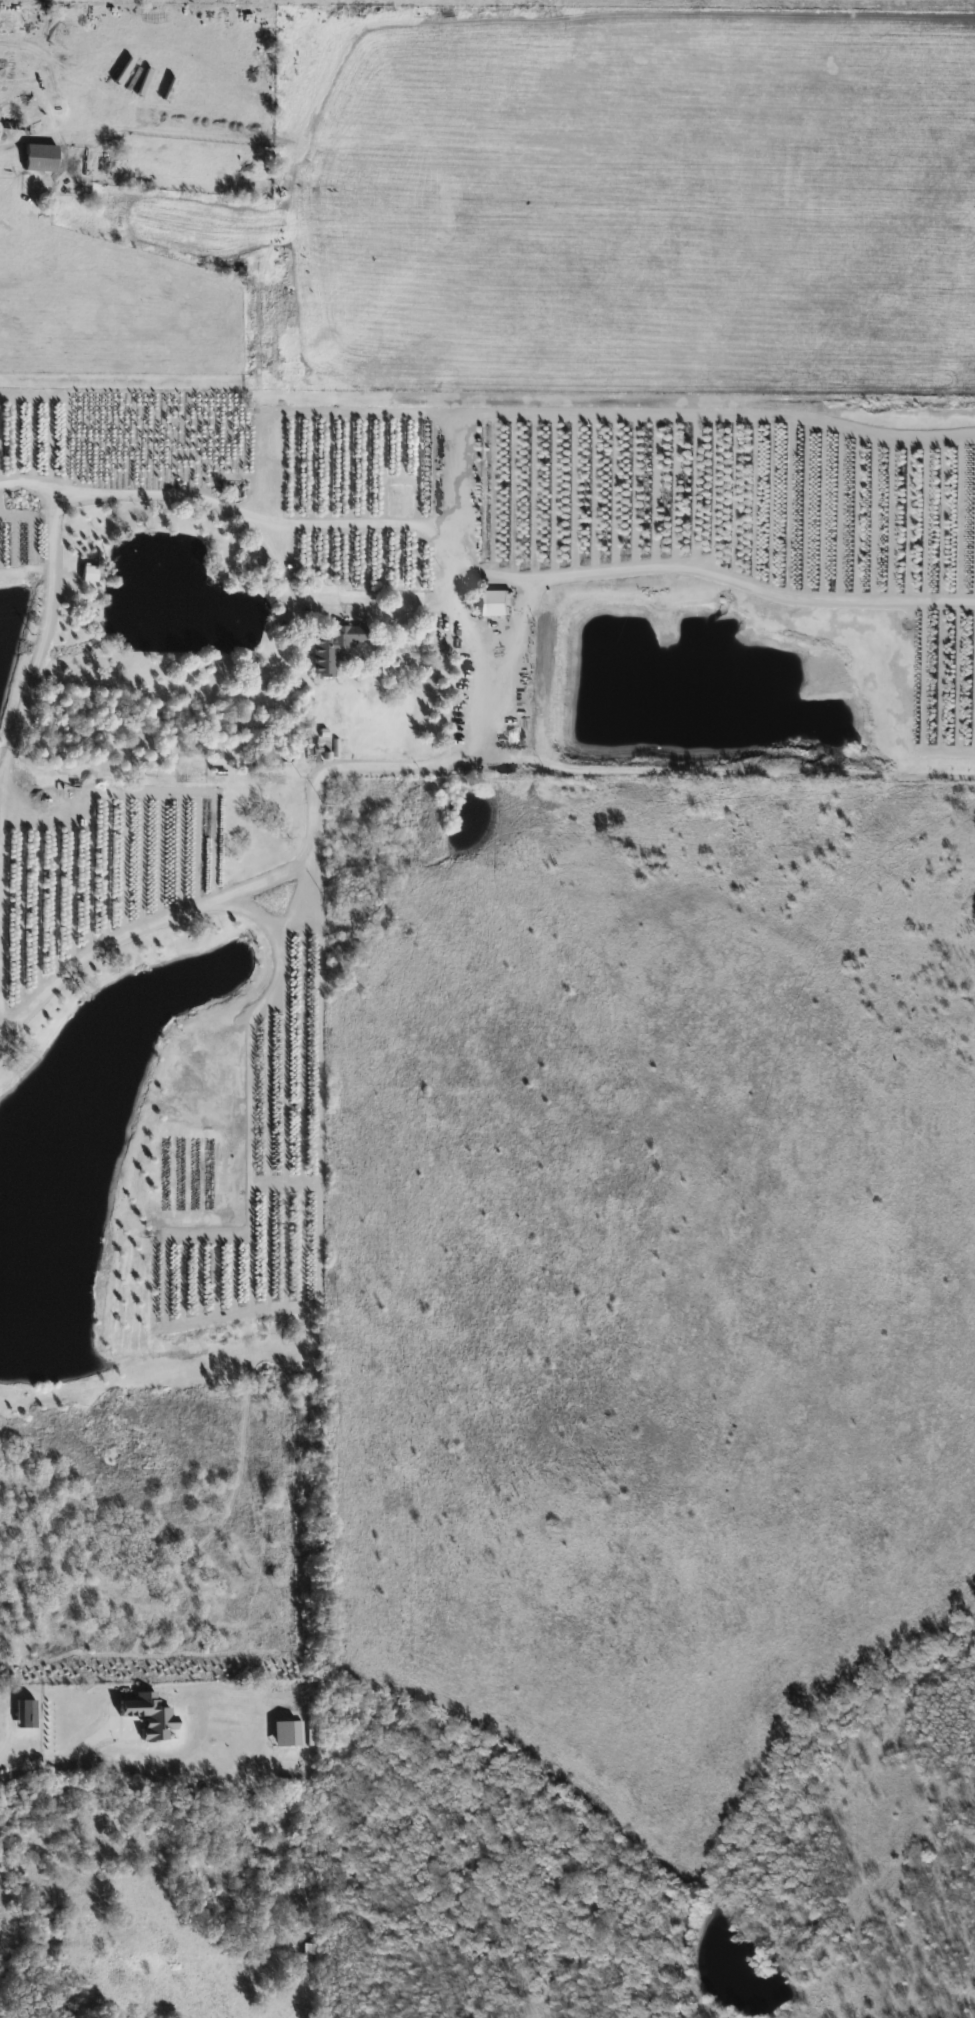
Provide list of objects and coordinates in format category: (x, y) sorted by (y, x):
road: (50, 70)
building: (12, 130)
road: (27, 482)
road: (442, 599)
road: (529, 601)
building: (490, 603)
road: (325, 609)
building: (334, 648)
building: (25, 1714)
road: (23, 1772)

